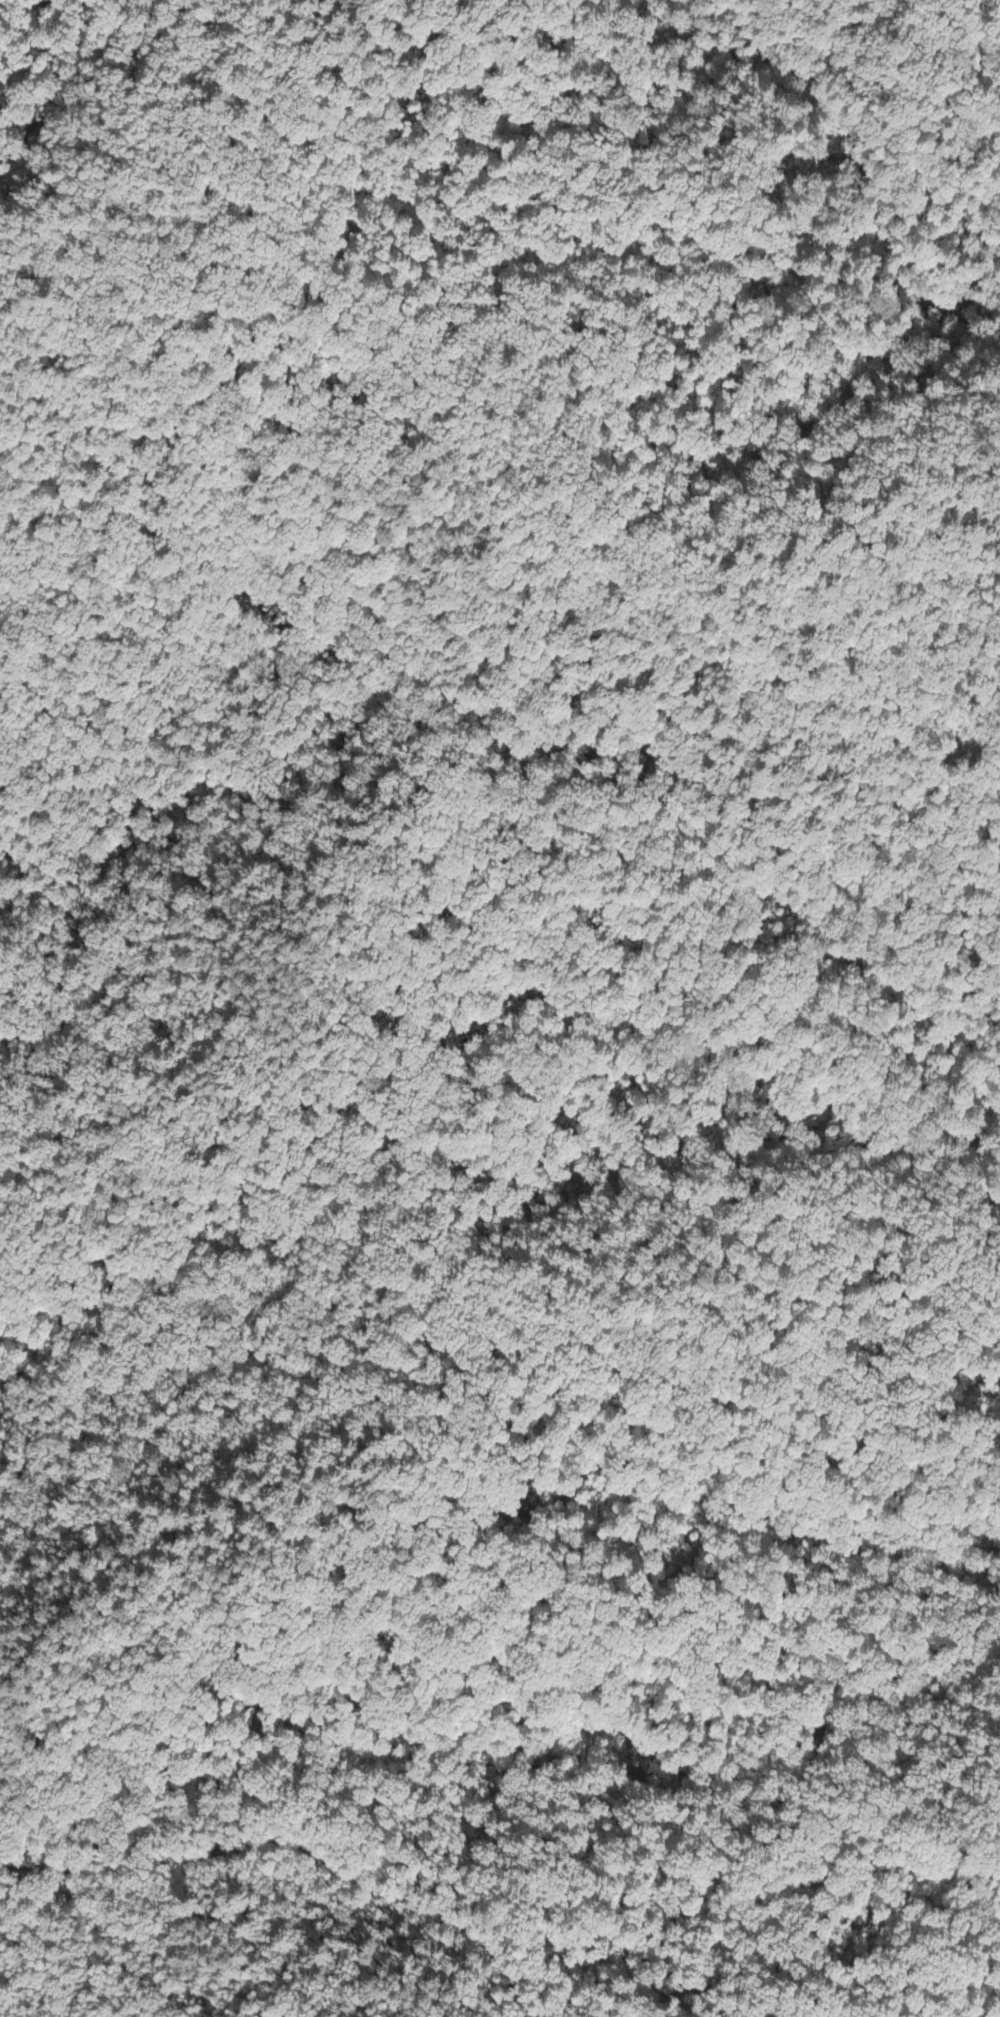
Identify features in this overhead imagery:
road: (323, 1860)
road: (20, 1867)
road: (109, 1950)

